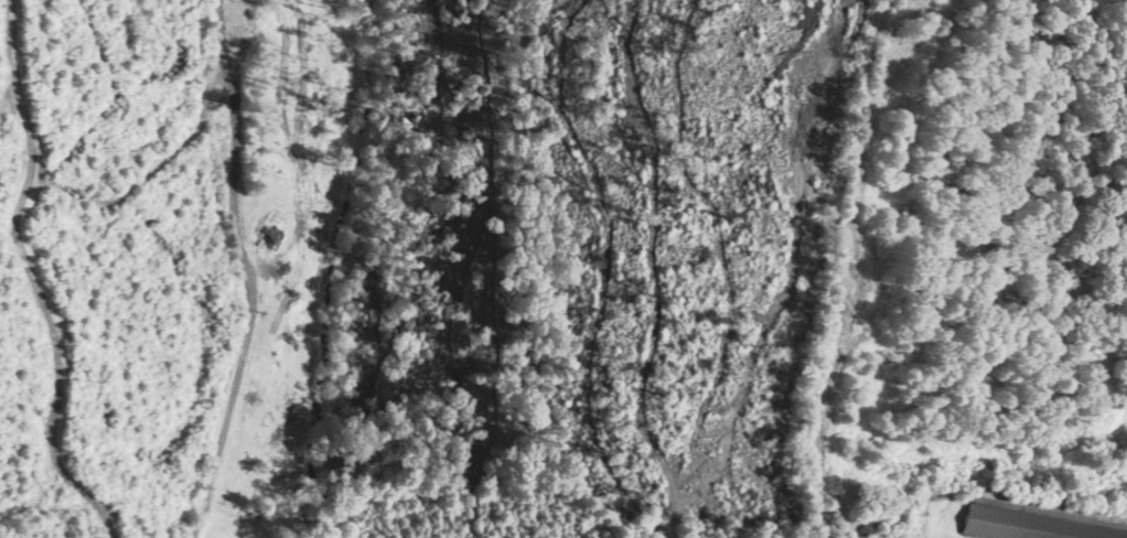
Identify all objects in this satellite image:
road: (248, 275)
building: (868, 528)

